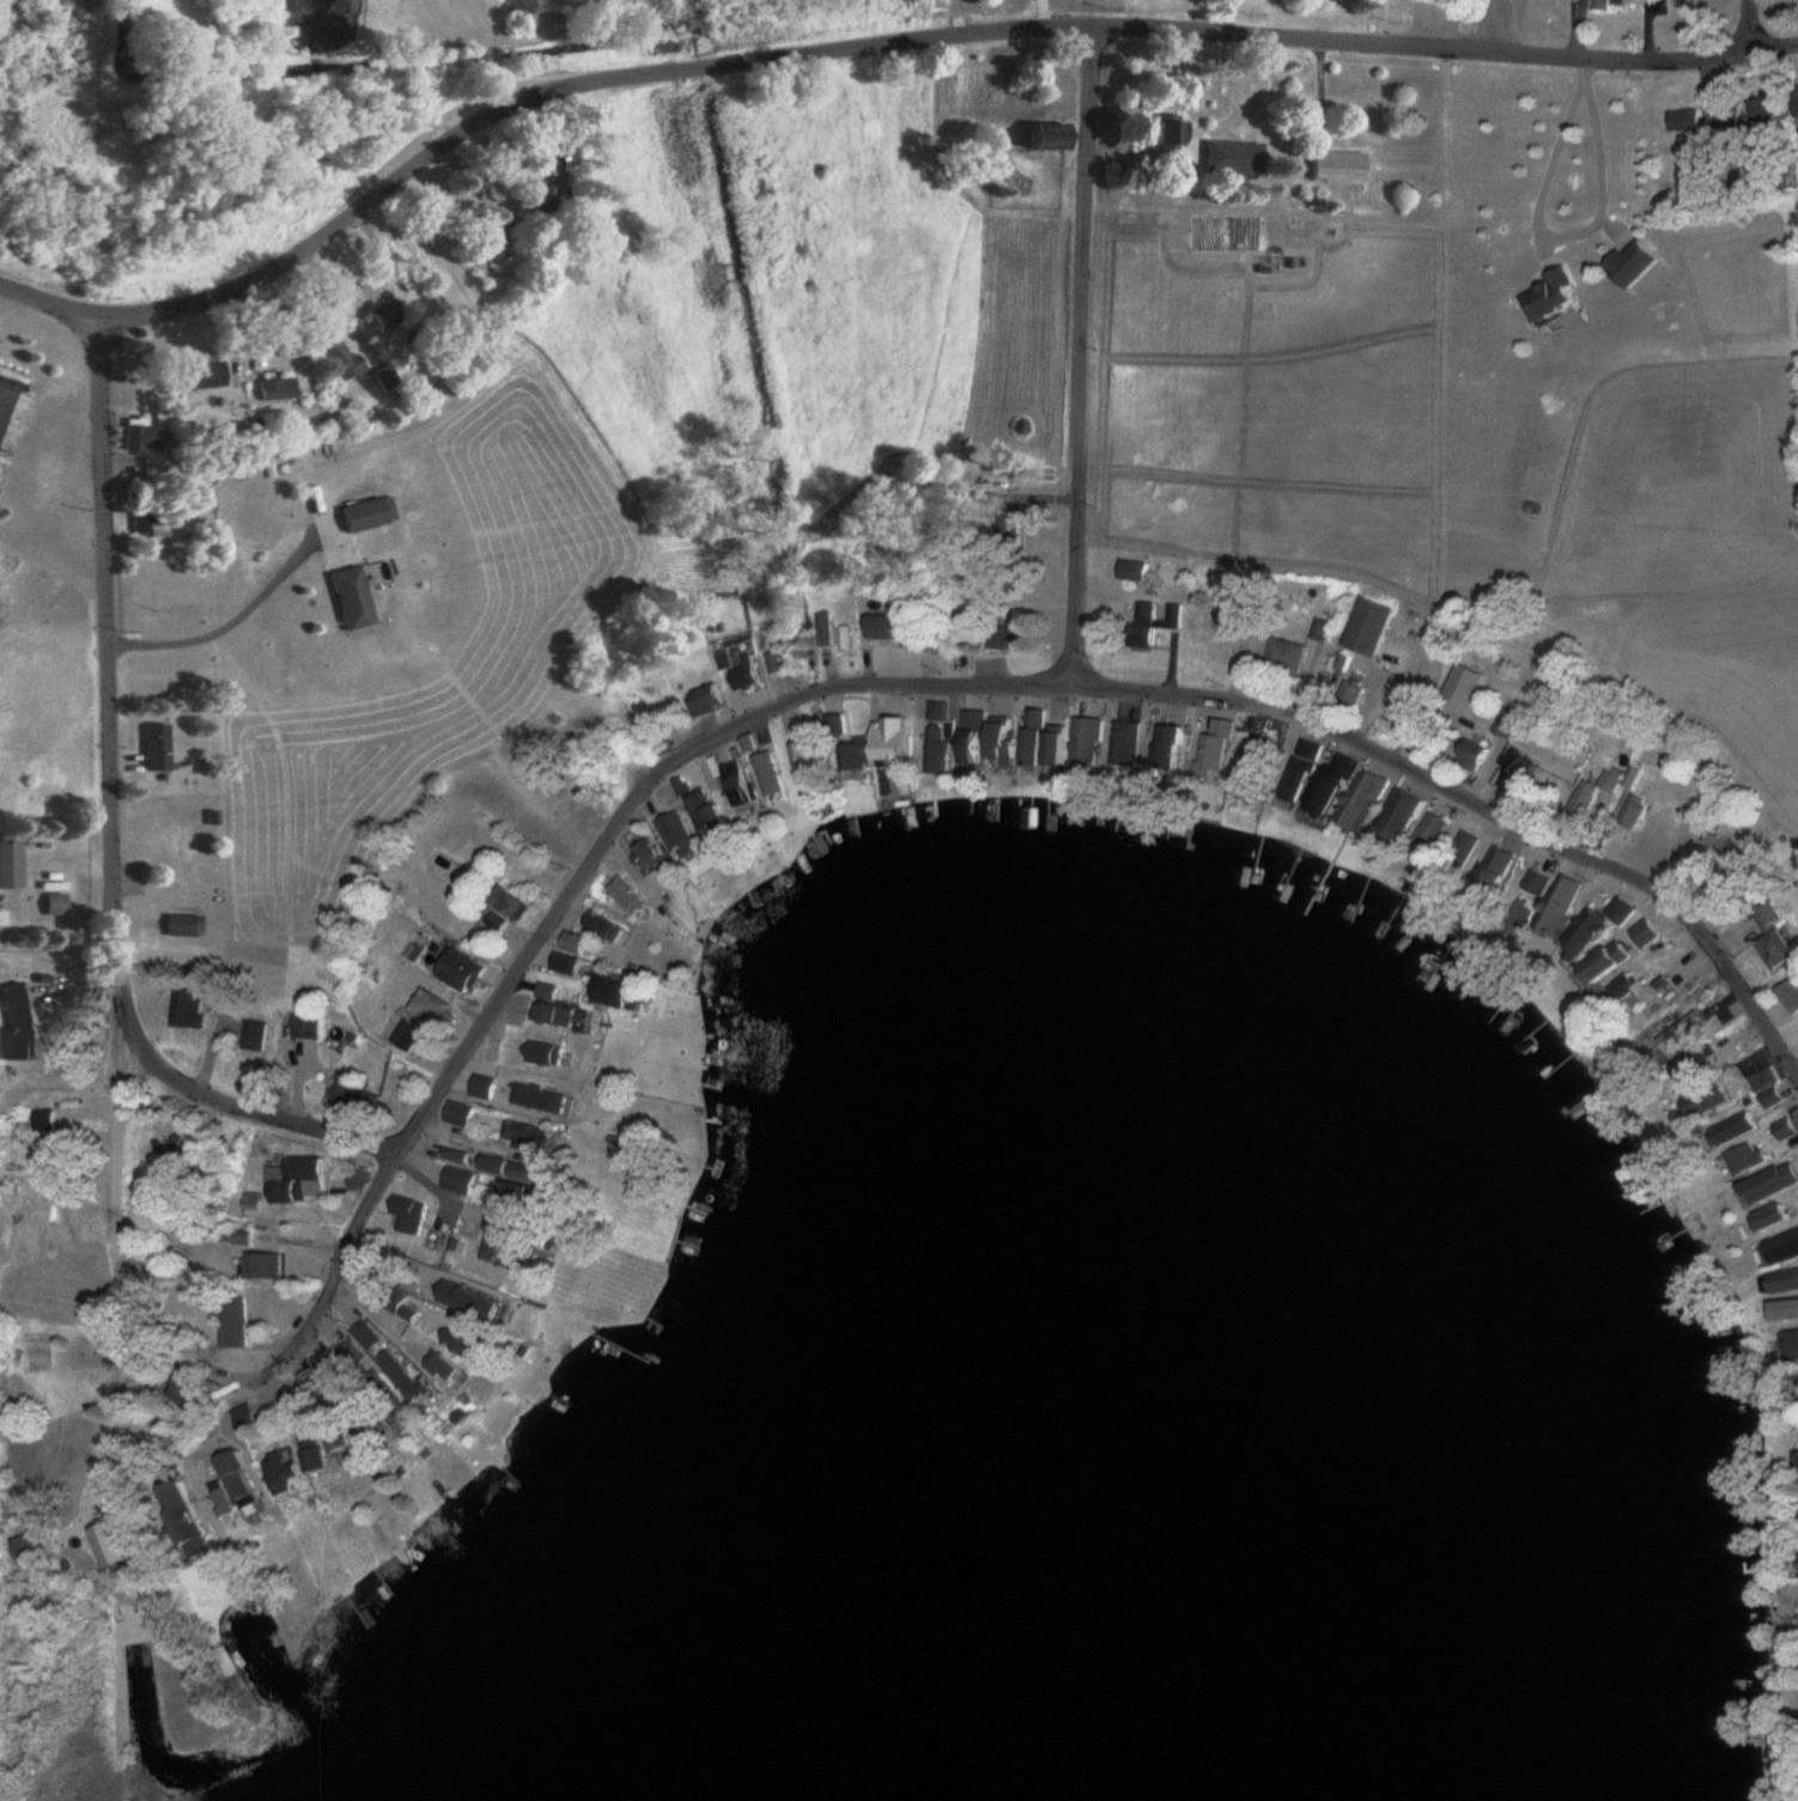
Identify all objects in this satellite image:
building: (1439, 1)
building: (1611, 4)
road: (1750, 26)
road: (863, 53)
building: (1750, 117)
building: (1688, 121)
building: (1174, 133)
building: (1237, 156)
building: (1341, 166)
building: (542, 197)
road: (1549, 230)
building: (498, 252)
building: (1553, 298)
building: (390, 314)
building: (347, 361)
road: (1085, 363)
building: (208, 373)
building: (280, 389)
building: (12, 412)
building: (146, 437)
building: (373, 513)
building: (150, 525)
building: (357, 597)
building: (1227, 619)
building: (1152, 621)
road: (227, 622)
building: (1366, 626)
building: (846, 629)
building: (1010, 633)
building: (1284, 653)
building: (780, 663)
building: (743, 674)
building: (837, 725)
building: (1007, 740)
building: (1047, 740)
building: (1089, 740)
building: (887, 742)
building: (1126, 743)
building: (1219, 746)
building: (158, 747)
building: (976, 747)
building: (1174, 747)
building: (937, 750)
building: (858, 753)
building: (1306, 754)
building: (1471, 755)
building: (812, 757)
building: (1259, 757)
building: (1520, 771)
building: (773, 774)
building: (1615, 779)
building: (742, 784)
building: (1353, 792)
building: (1583, 798)
building: (707, 810)
building: (1636, 810)
building: (1403, 815)
building: (1427, 830)
building: (175, 836)
building: (681, 836)
road: (608, 844)
building: (1726, 846)
building: (1457, 850)
building: (655, 857)
building: (12, 864)
building: (1495, 871)
building: (1538, 882)
building: (625, 895)
building: (518, 903)
building: (1562, 903)
building: (59, 905)
building: (187, 925)
building: (606, 926)
building: (1597, 927)
building: (1644, 933)
building: (1775, 937)
building: (582, 943)
building: (1610, 961)
building: (573, 963)
building: (463, 968)
building: (1626, 985)
building: (555, 991)
building: (621, 992)
building: (1793, 993)
building: (192, 1009)
building: (563, 1015)
building: (445, 1017)
building: (18, 1022)
building: (306, 1027)
building: (255, 1035)
building: (1690, 1035)
building: (551, 1054)
building: (1708, 1064)
building: (488, 1088)
building: (1774, 1089)
building: (358, 1096)
building: (547, 1100)
building: (1713, 1101)
building: (463, 1114)
building: (42, 1120)
building: (1750, 1127)
building: (1790, 1128)
building: (533, 1137)
building: (181, 1142)
building: (461, 1156)
building: (1756, 1156)
building: (526, 1169)
building: (344, 1170)
building: (463, 1180)
building: (302, 1181)
building: (1775, 1185)
building: (527, 1194)
building: (411, 1213)
building: (1779, 1217)
building: (509, 1240)
building: (1782, 1246)
road: (114, 1249)
building: (268, 1266)
road: (335, 1267)
building: (1784, 1280)
building: (403, 1307)
building: (1788, 1310)
building: (233, 1324)
building: (369, 1337)
building: (470, 1343)
building: (1793, 1344)
building: (30, 1352)
building: (352, 1355)
building: (454, 1368)
building: (316, 1377)
building: (409, 1377)
building: (190, 1391)
building: (247, 1419)
building: (345, 1438)
building: (314, 1449)
building: (284, 1471)
building: (232, 1480)
building: (217, 1507)
building: (178, 1519)
building: (113, 1545)
building: (36, 1546)

